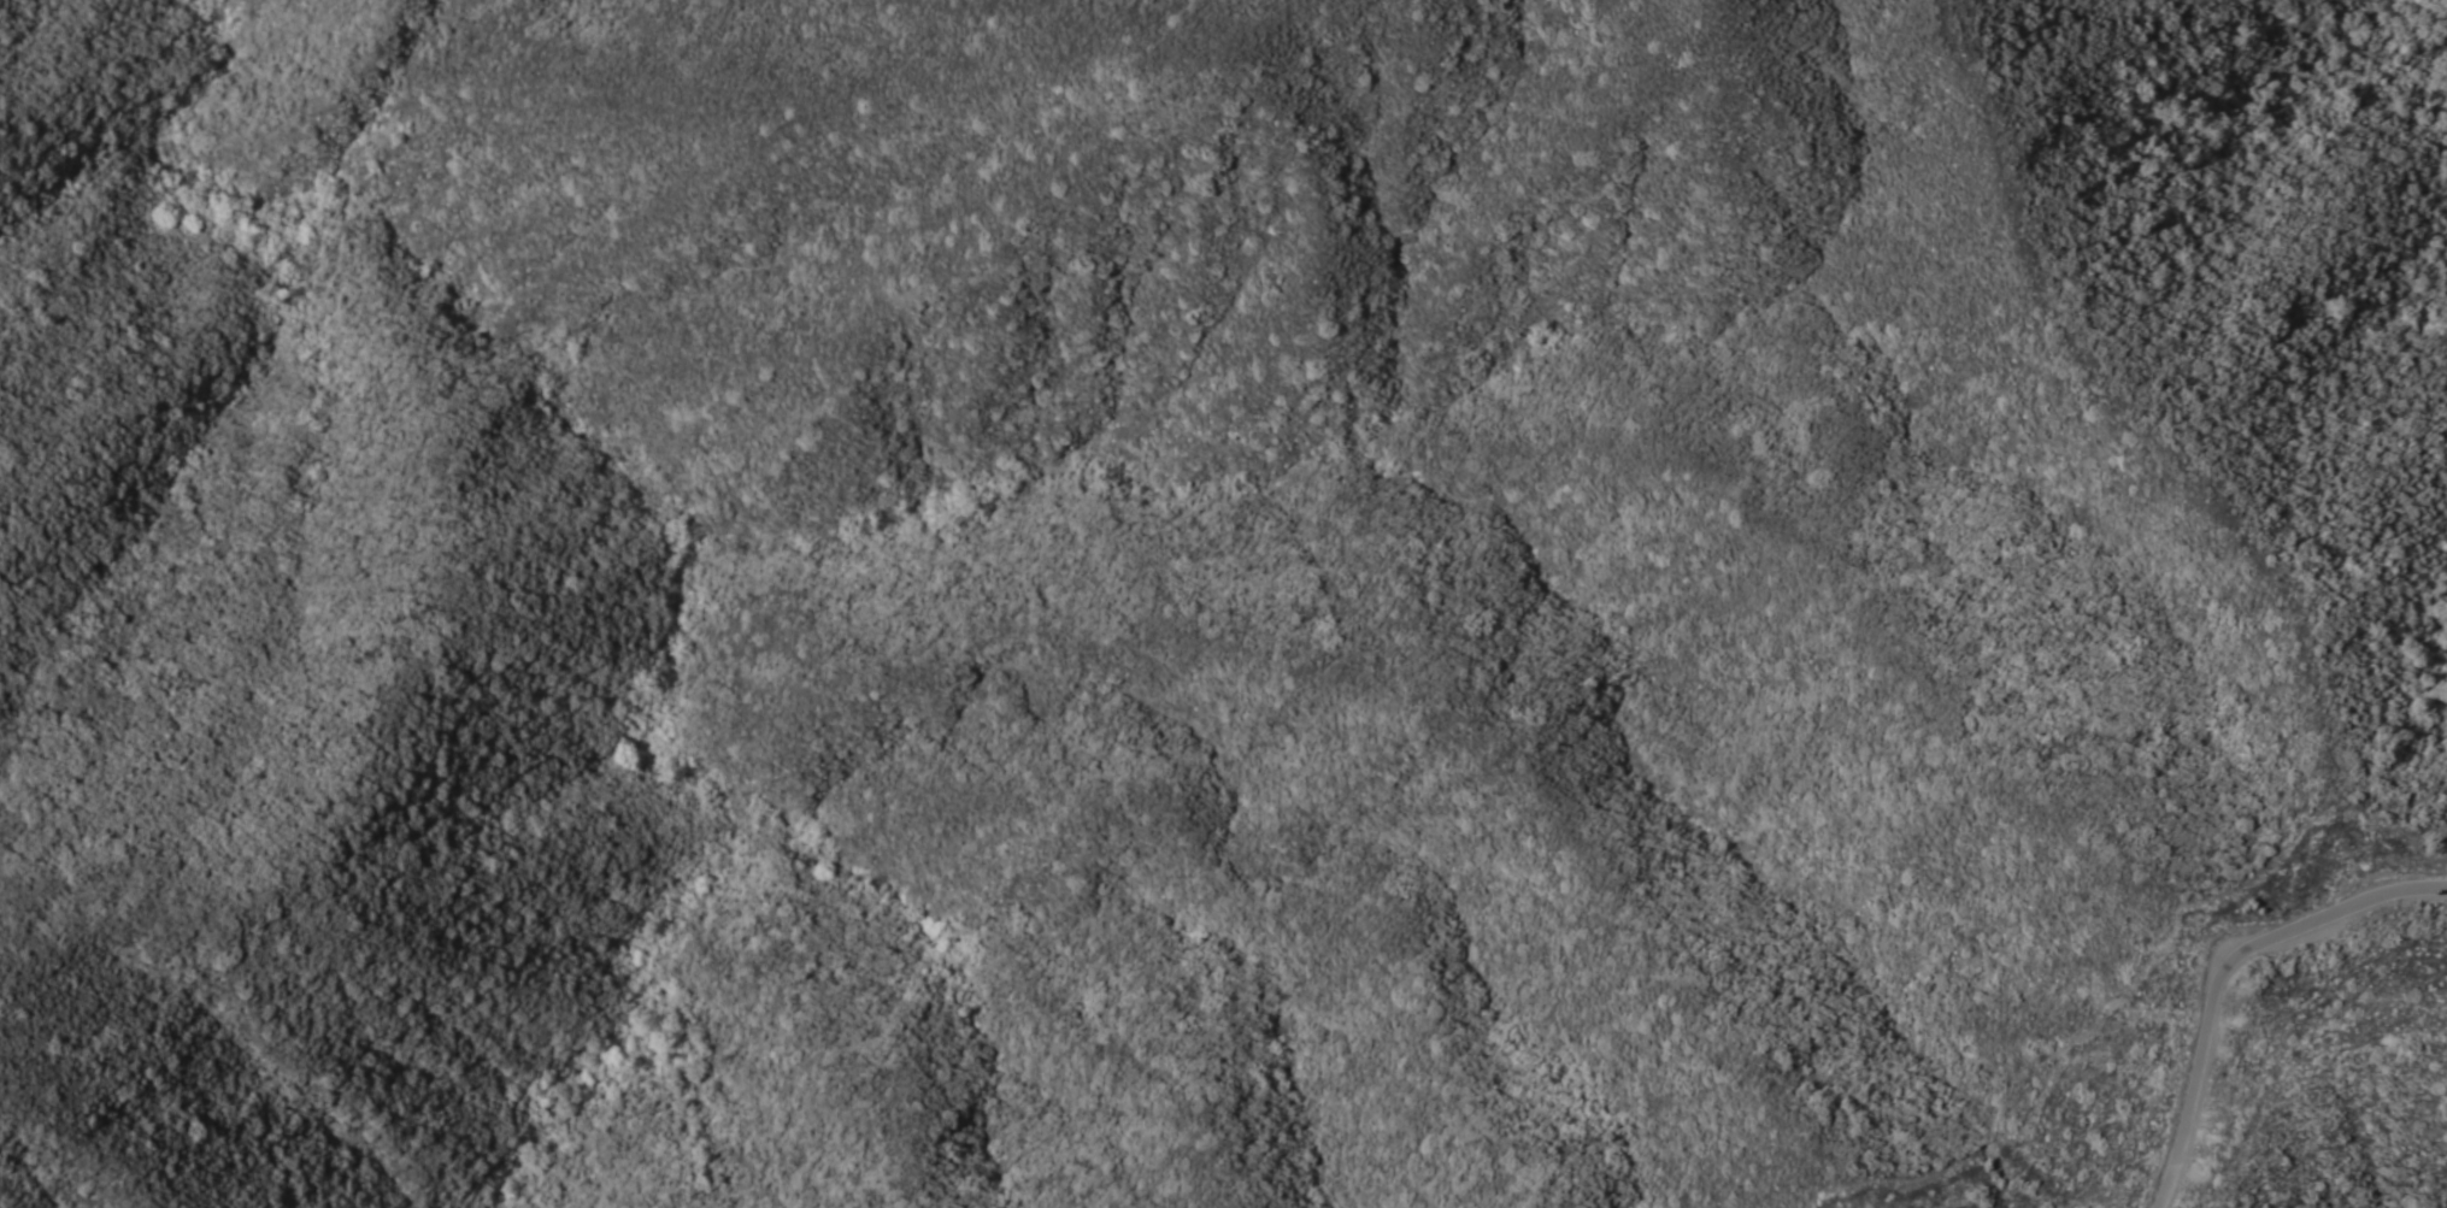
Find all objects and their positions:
road: (2227, 974)

